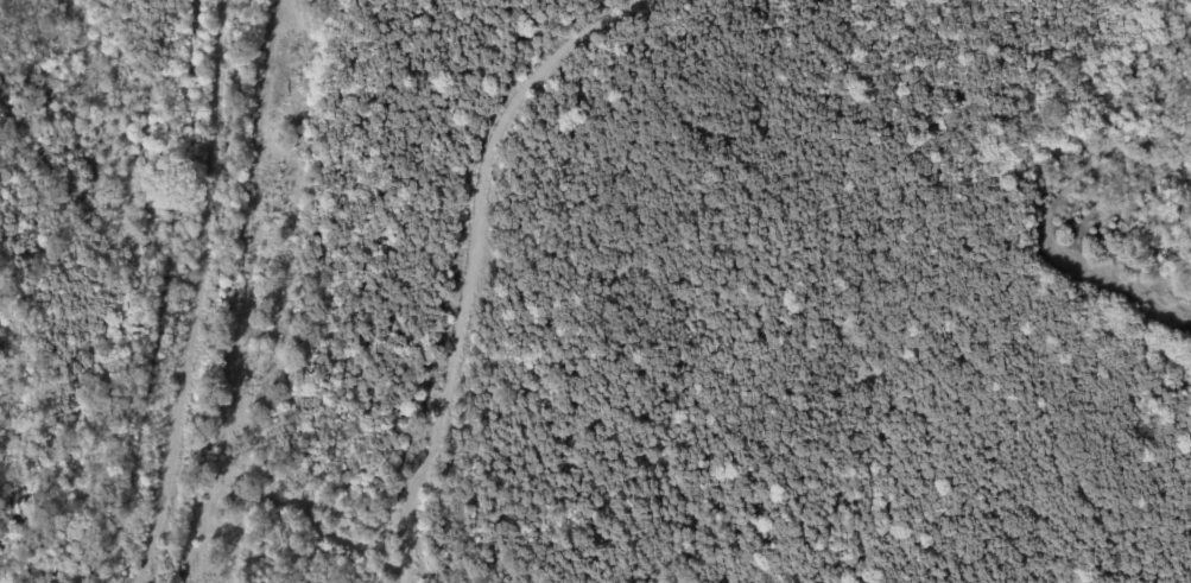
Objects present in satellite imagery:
road: (475, 258)

